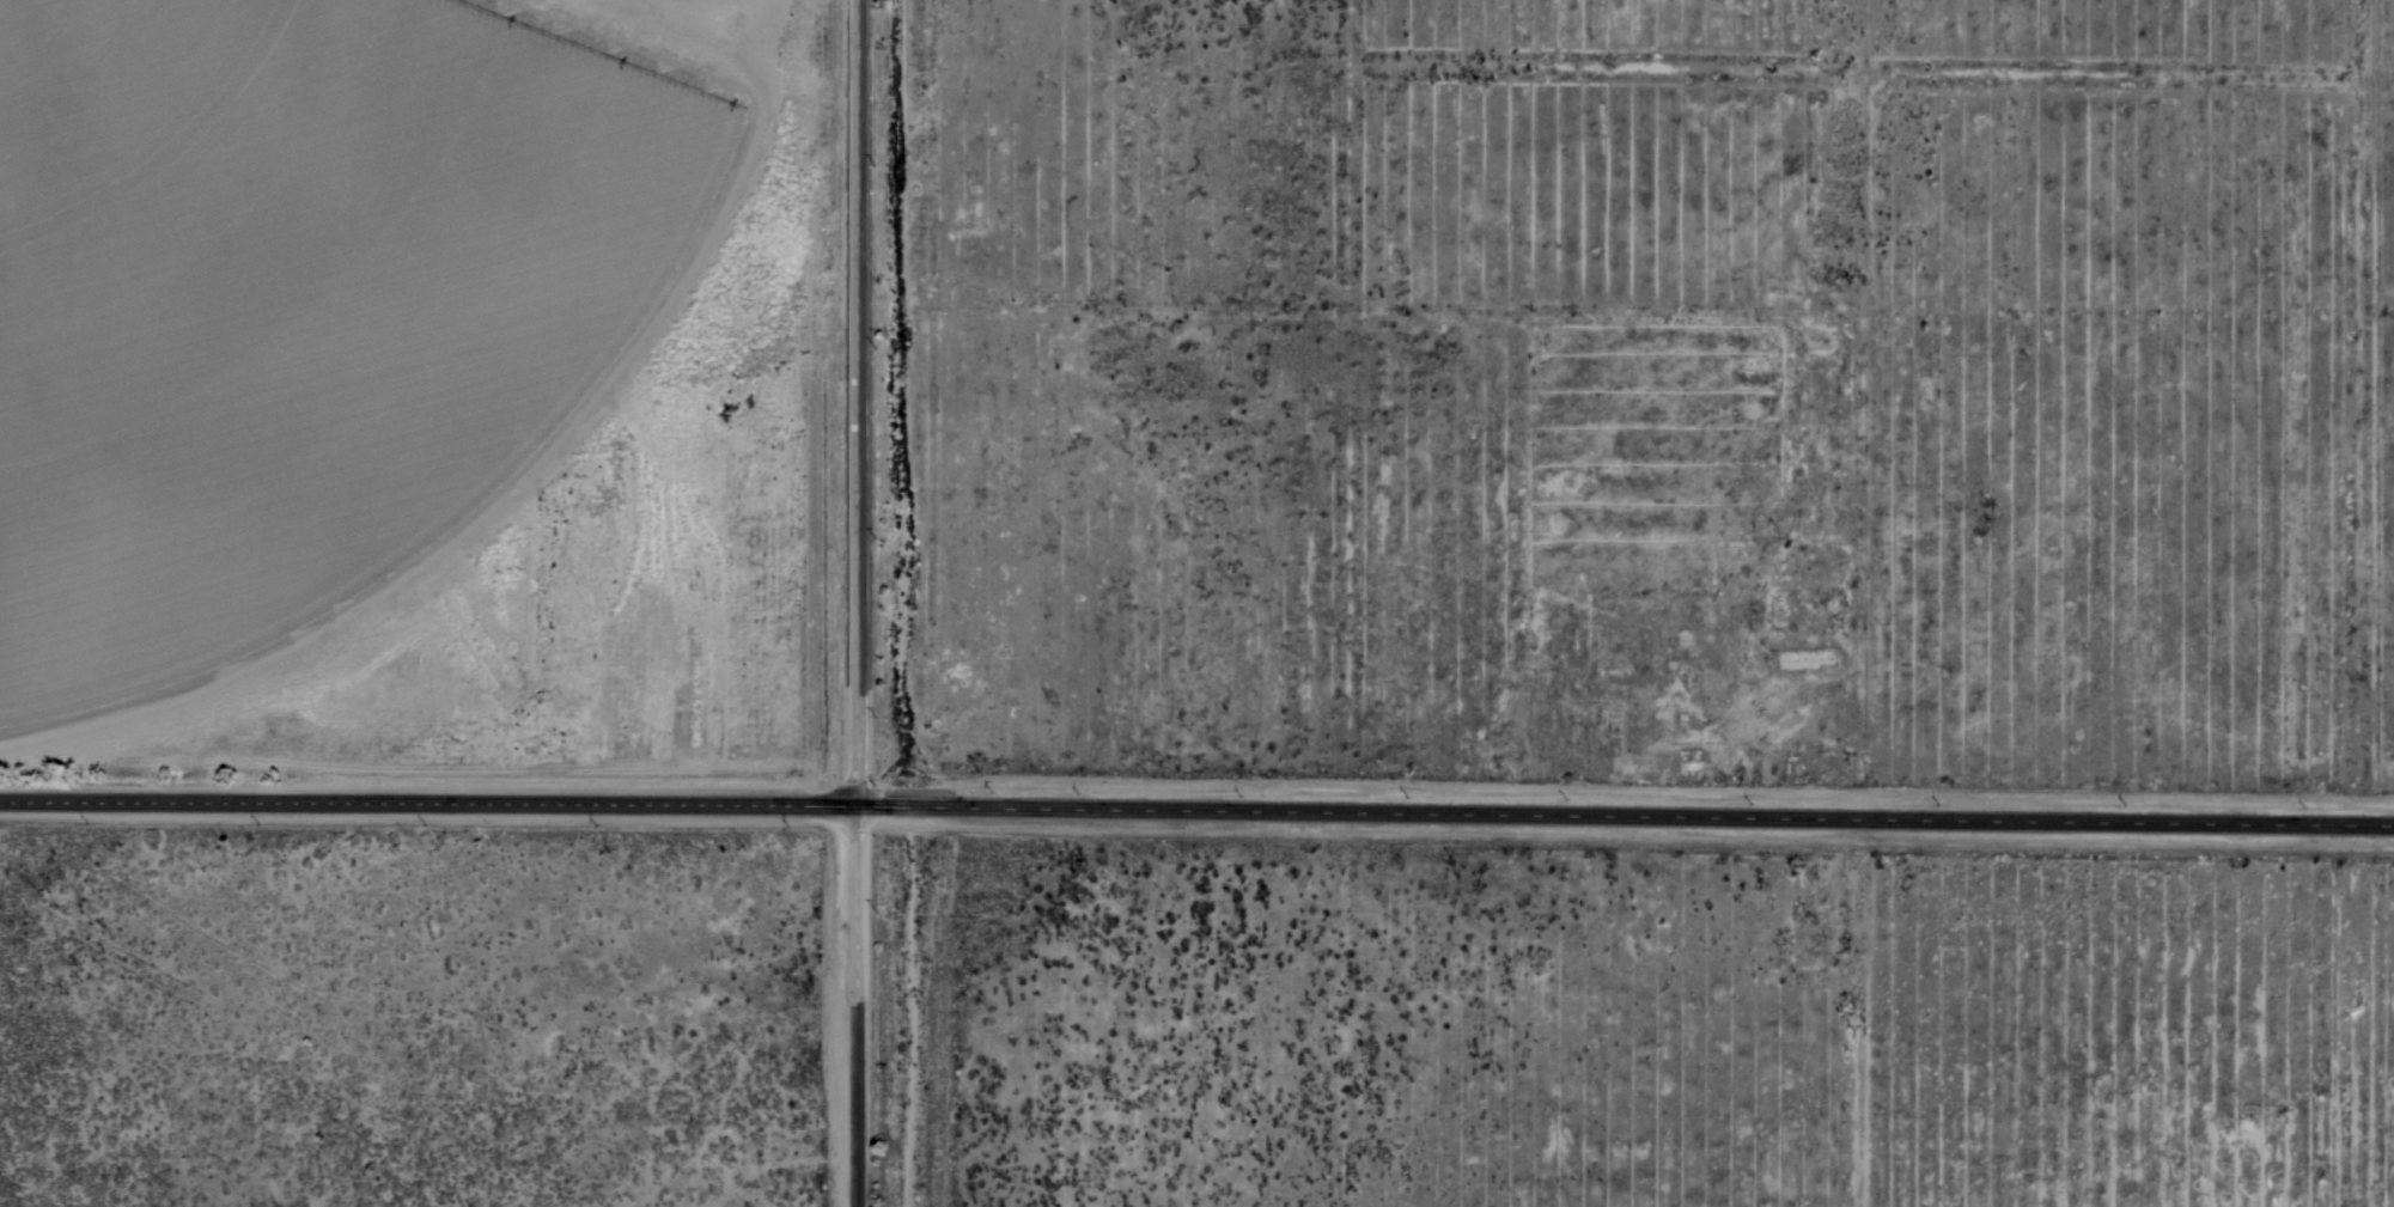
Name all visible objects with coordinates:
road: (855, 401)
crop: (415, 408)
road: (1196, 805)
road: (852, 1005)
road: (919, 1005)

